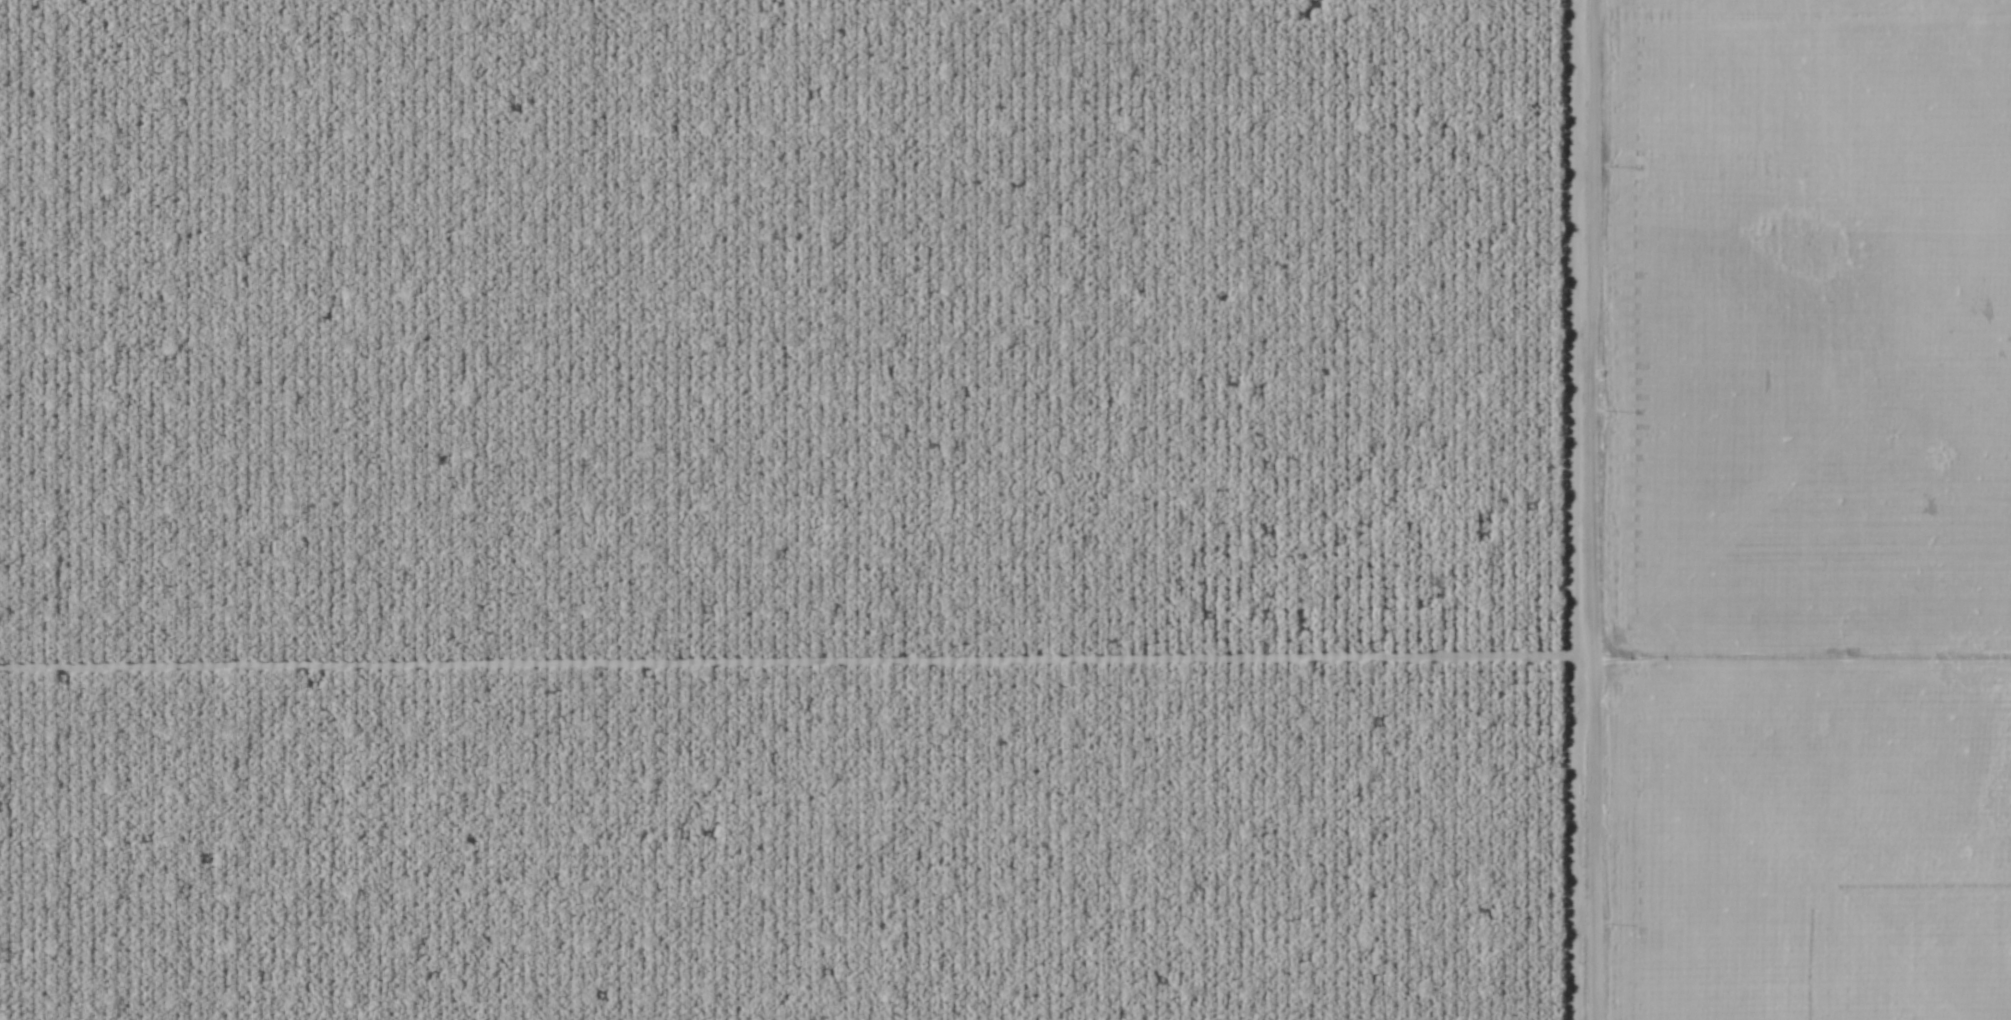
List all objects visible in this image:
crop: (787, 510)
crop: (1005, 510)
road: (1550, 510)
road: (774, 661)

